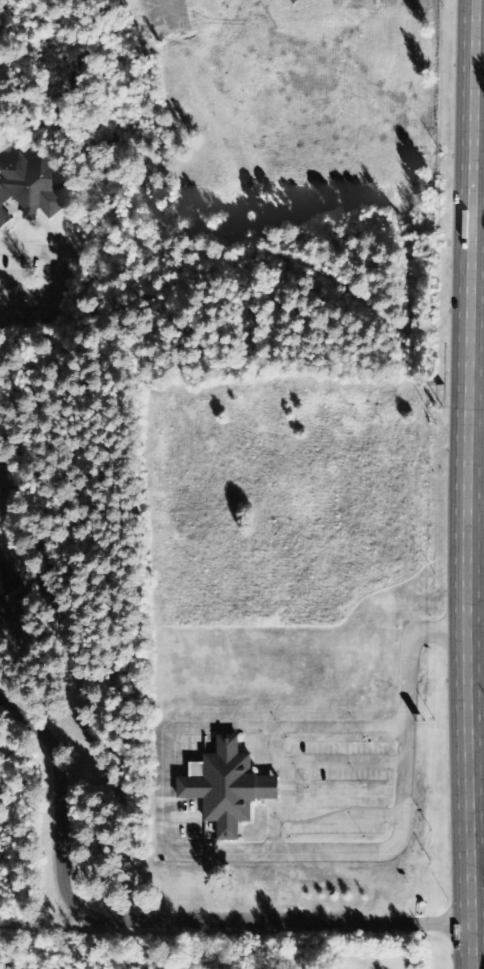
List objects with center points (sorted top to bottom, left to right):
road: (474, 145)
building: (32, 188)
building: (7, 582)
road: (473, 629)
building: (229, 787)
road: (153, 921)

